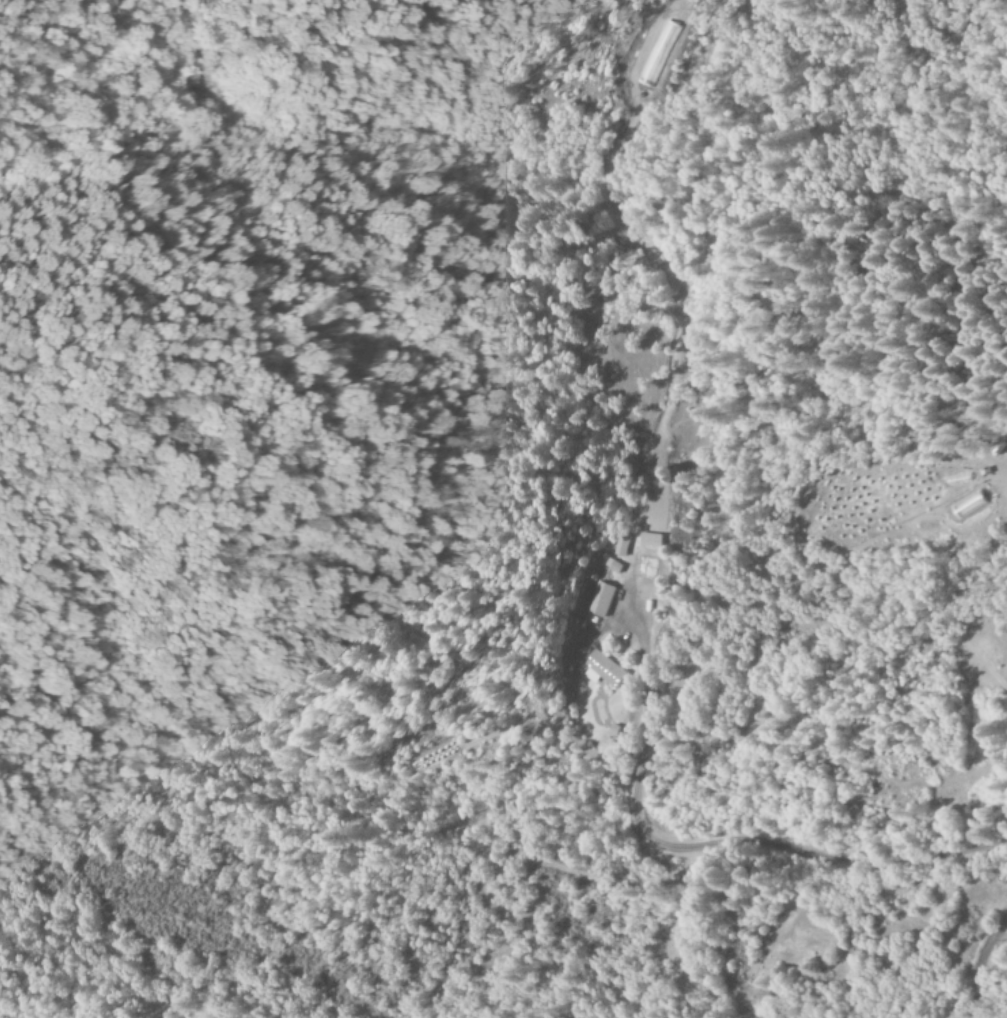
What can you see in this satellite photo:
building: (650, 540)
building: (599, 600)
building: (602, 670)
road: (989, 944)

